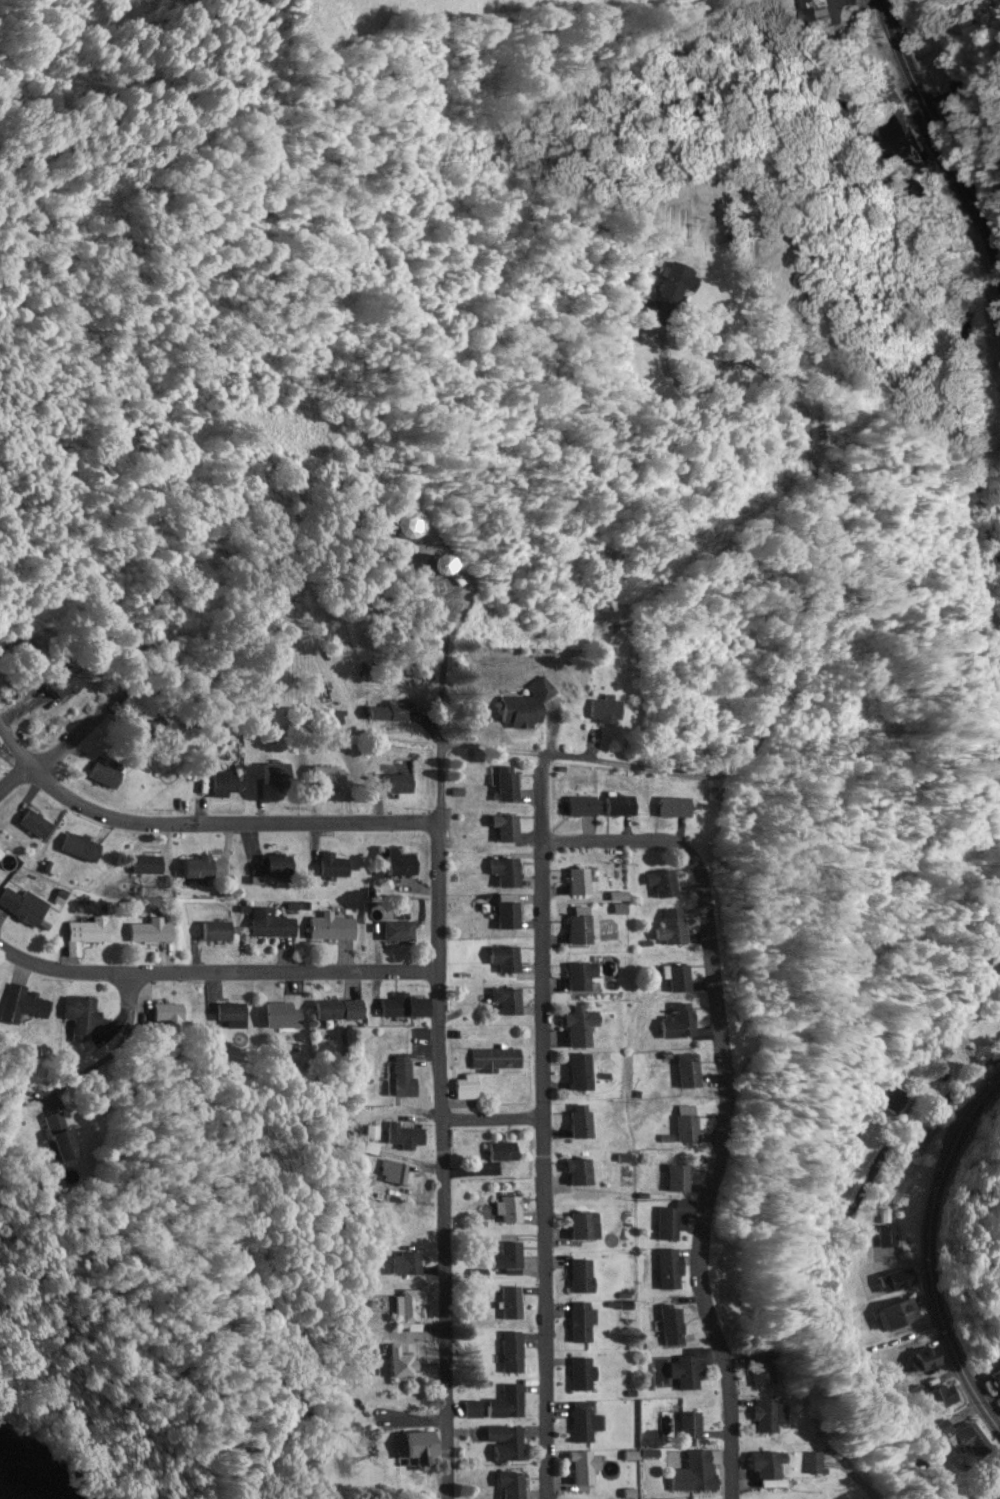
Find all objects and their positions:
building: (950, 105)
road: (943, 135)
building: (686, 279)
building: (421, 525)
building: (450, 570)
road: (791, 665)
building: (68, 684)
building: (611, 711)
building: (385, 713)
building: (525, 713)
road: (83, 728)
building: (277, 775)
building: (107, 776)
road: (16, 779)
building: (399, 784)
building: (219, 785)
building: (511, 785)
building: (721, 795)
building: (623, 807)
building: (581, 808)
building: (680, 809)
building: (38, 825)
road: (228, 826)
building: (511, 830)
road: (608, 843)
building: (84, 848)
building: (1, 854)
building: (405, 862)
building: (149, 865)
building: (281, 866)
building: (199, 868)
building: (337, 868)
building: (508, 873)
building: (581, 882)
building: (670, 885)
building: (7, 897)
building: (31, 913)
building: (512, 913)
building: (272, 925)
building: (582, 927)
building: (333, 929)
building: (678, 929)
building: (153, 931)
building: (217, 932)
building: (400, 932)
building: (88, 934)
building: (509, 960)
road: (217, 974)
building: (585, 977)
building: (685, 979)
building: (26, 1005)
building: (407, 1007)
building: (339, 1010)
building: (169, 1016)
building: (233, 1016)
building: (282, 1016)
building: (83, 1019)
building: (686, 1023)
building: (585, 1029)
building: (497, 1061)
building: (696, 1072)
building: (585, 1073)
building: (404, 1079)
building: (471, 1087)
road: (493, 1118)
building: (584, 1122)
building: (695, 1125)
road: (543, 1127)
building: (66, 1137)
building: (408, 1137)
road: (443, 1137)
building: (506, 1153)
road: (729, 1167)
building: (396, 1173)
building: (585, 1173)
building: (512, 1211)
building: (680, 1220)
building: (587, 1227)
road: (929, 1253)
building: (513, 1258)
building: (412, 1264)
building: (675, 1270)
building: (585, 1277)
building: (513, 1304)
building: (409, 1311)
building: (900, 1316)
building: (585, 1323)
building: (676, 1328)
building: (514, 1354)
building: (930, 1361)
building: (403, 1363)
building: (695, 1369)
building: (775, 1371)
building: (587, 1375)
building: (997, 1382)
building: (498, 1407)
building: (778, 1417)
building: (586, 1424)
building: (693, 1427)
building: (972, 1443)
building: (509, 1444)
building: (424, 1450)
building: (819, 1465)
building: (775, 1467)
building: (590, 1469)
building: (700, 1474)
building: (514, 1485)
river: (14, 1486)

